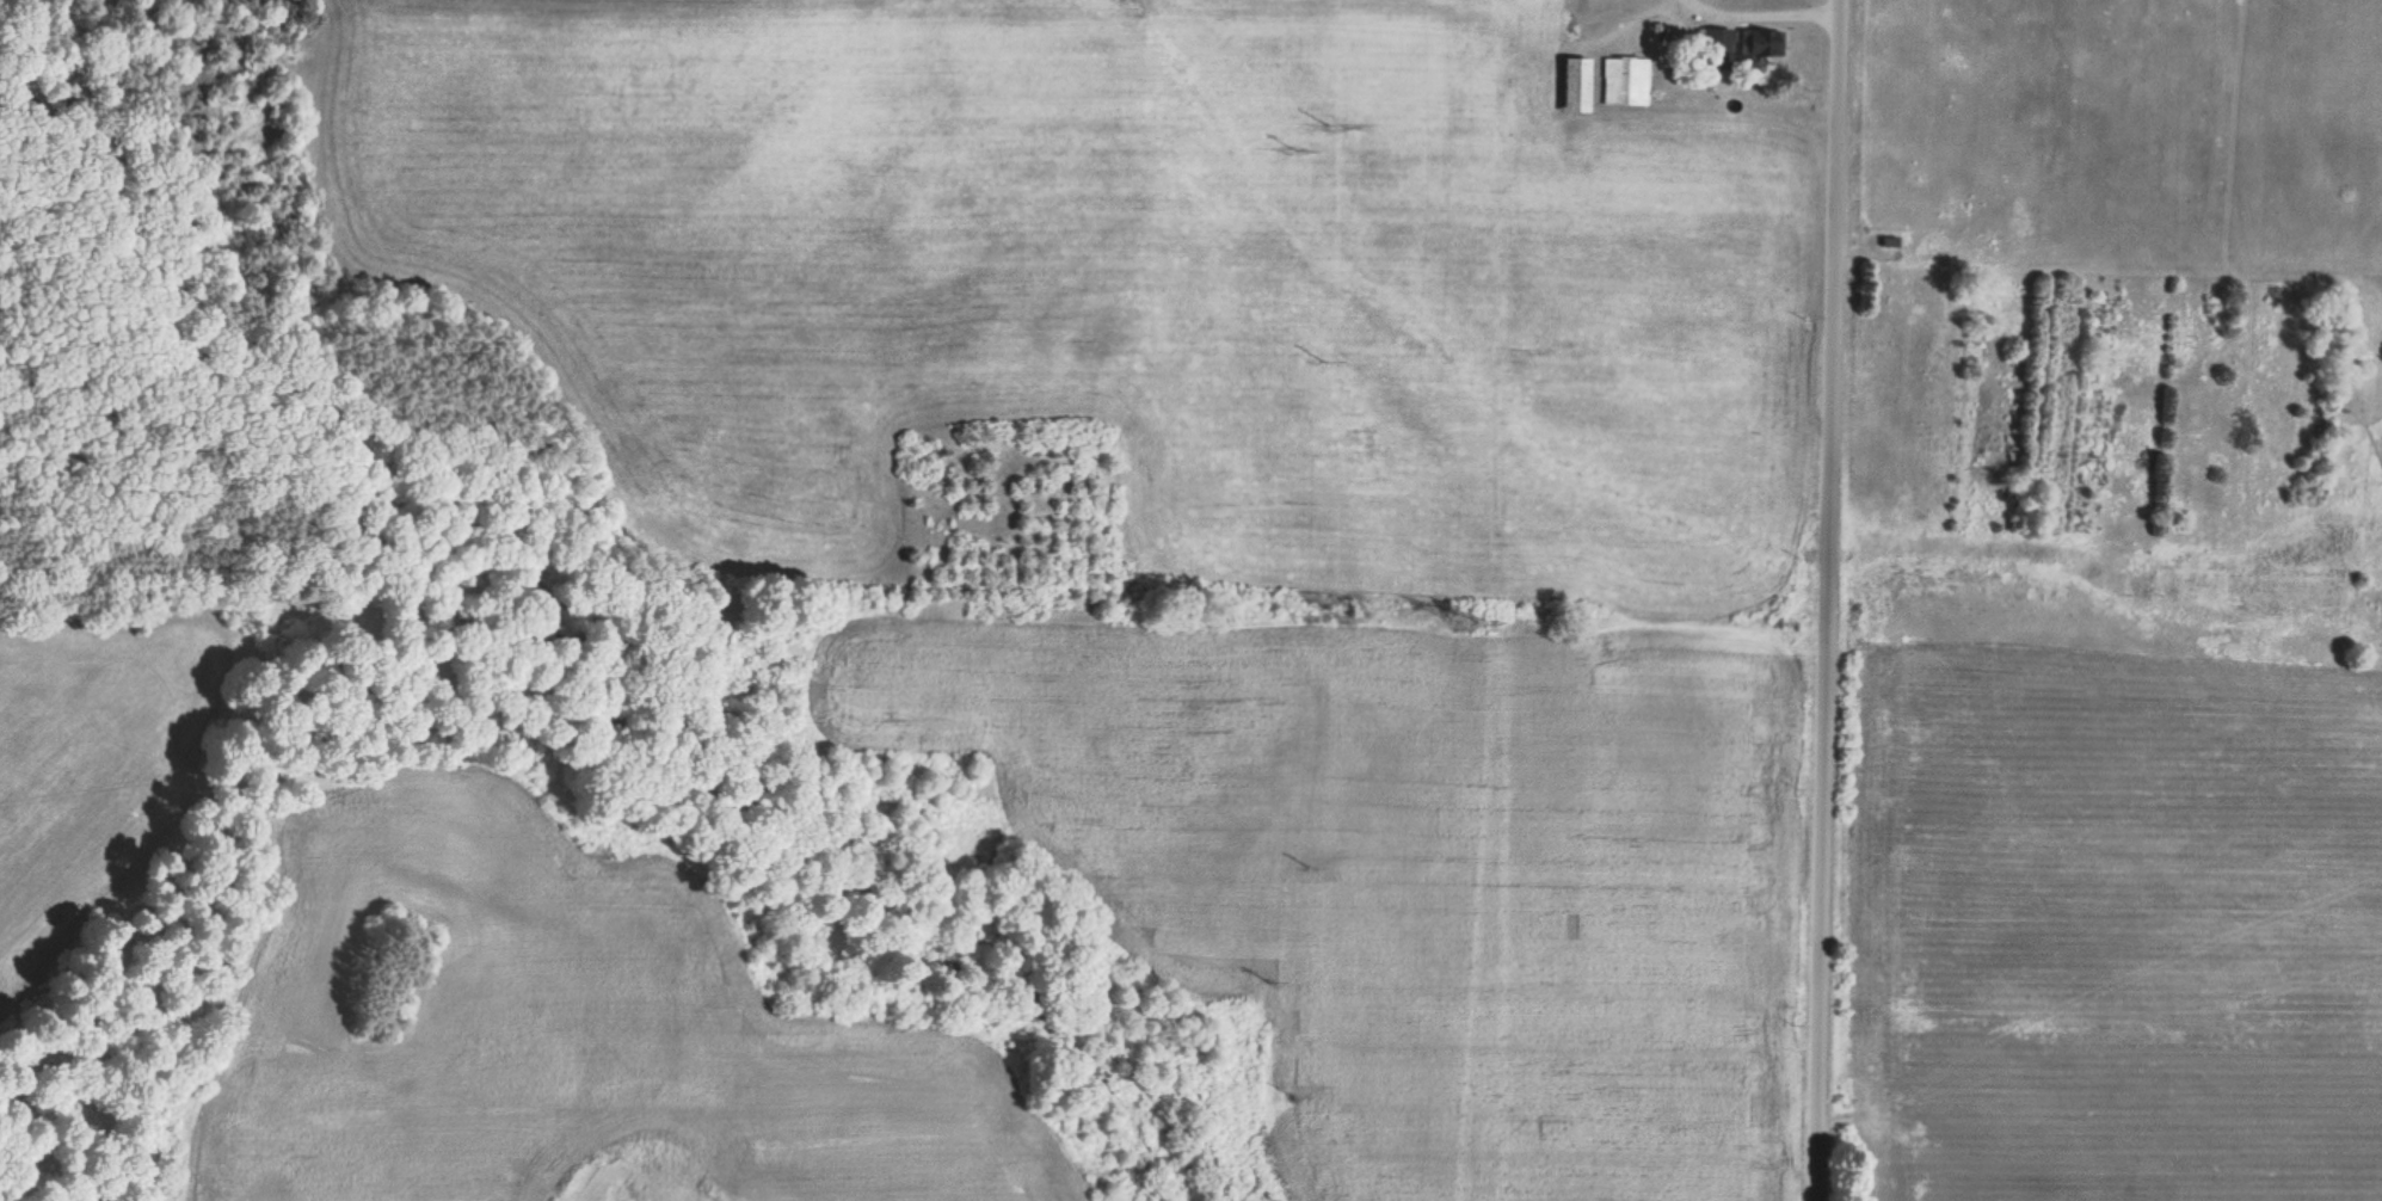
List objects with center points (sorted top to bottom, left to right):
building: (1624, 81)
building: (1577, 84)
road: (1823, 600)
power tower: (1460, 612)

